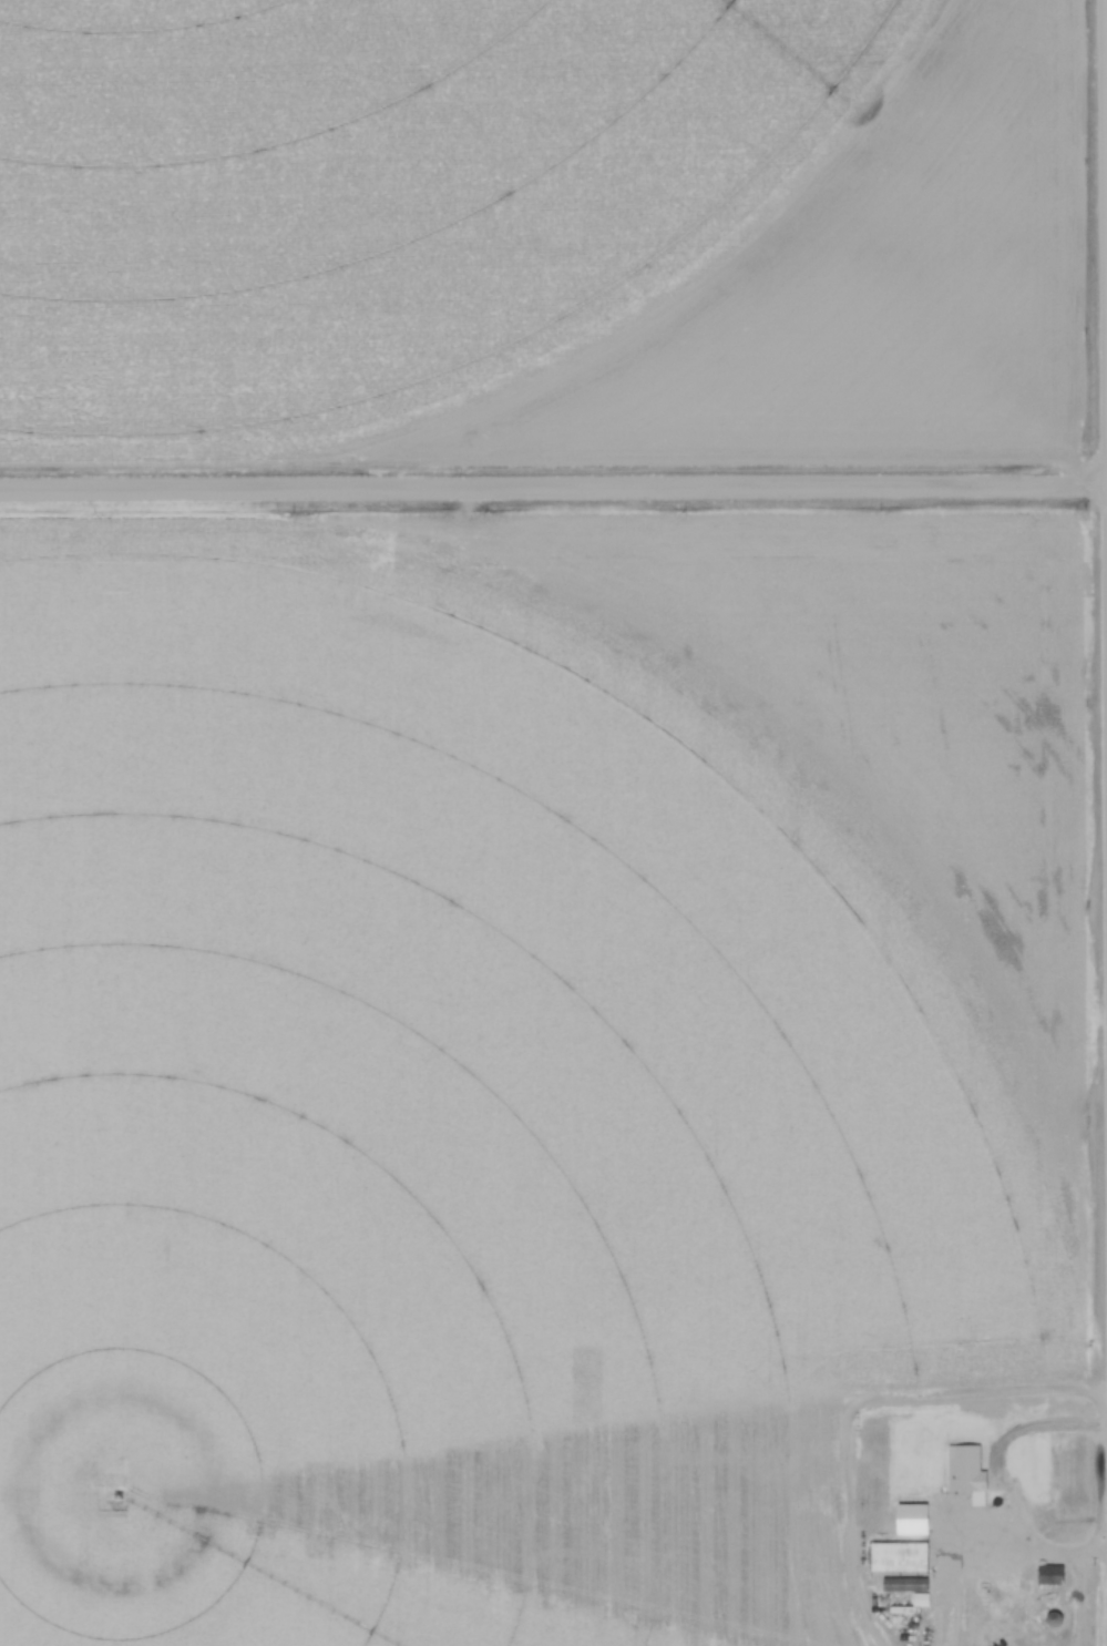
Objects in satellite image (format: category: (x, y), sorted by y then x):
road: (553, 492)
road: (1035, 1431)
building: (966, 1471)
building: (895, 1556)
building: (1048, 1575)
building: (1052, 1619)
building: (957, 1625)

